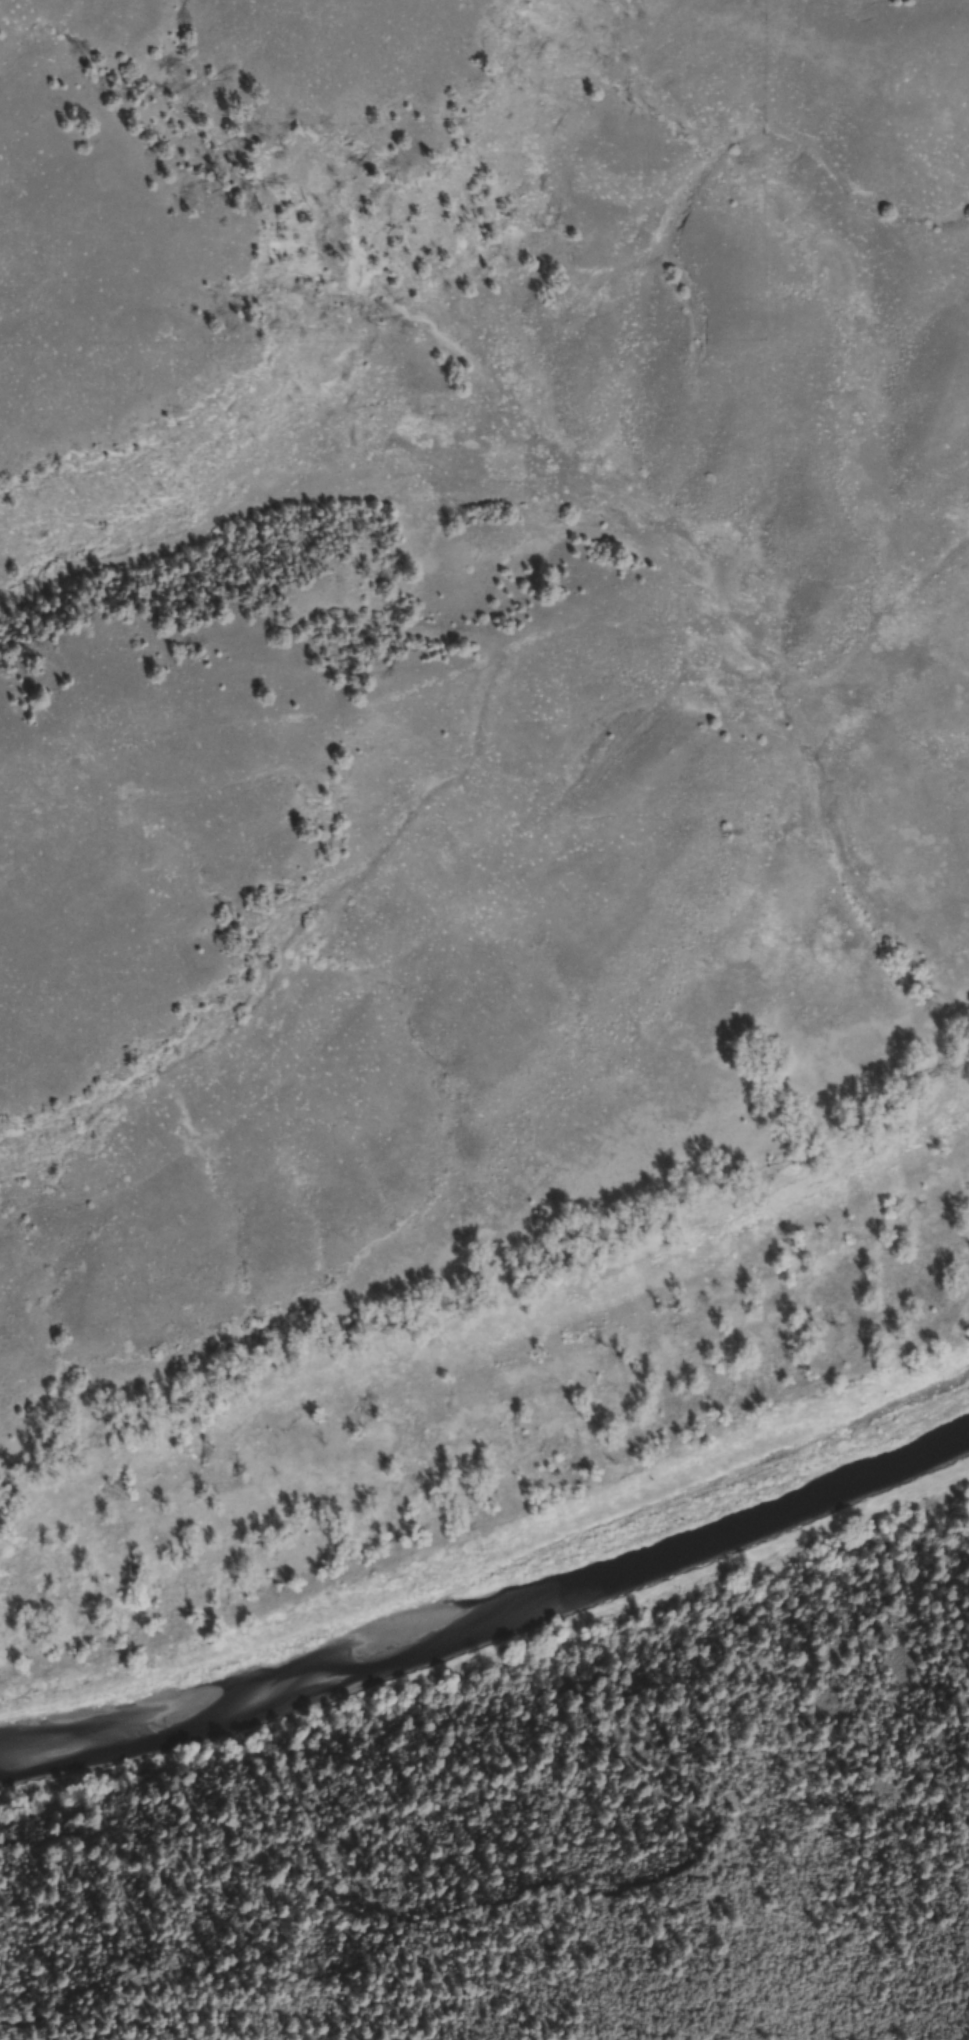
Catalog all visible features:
park: (483, 919)
river: (491, 1607)

